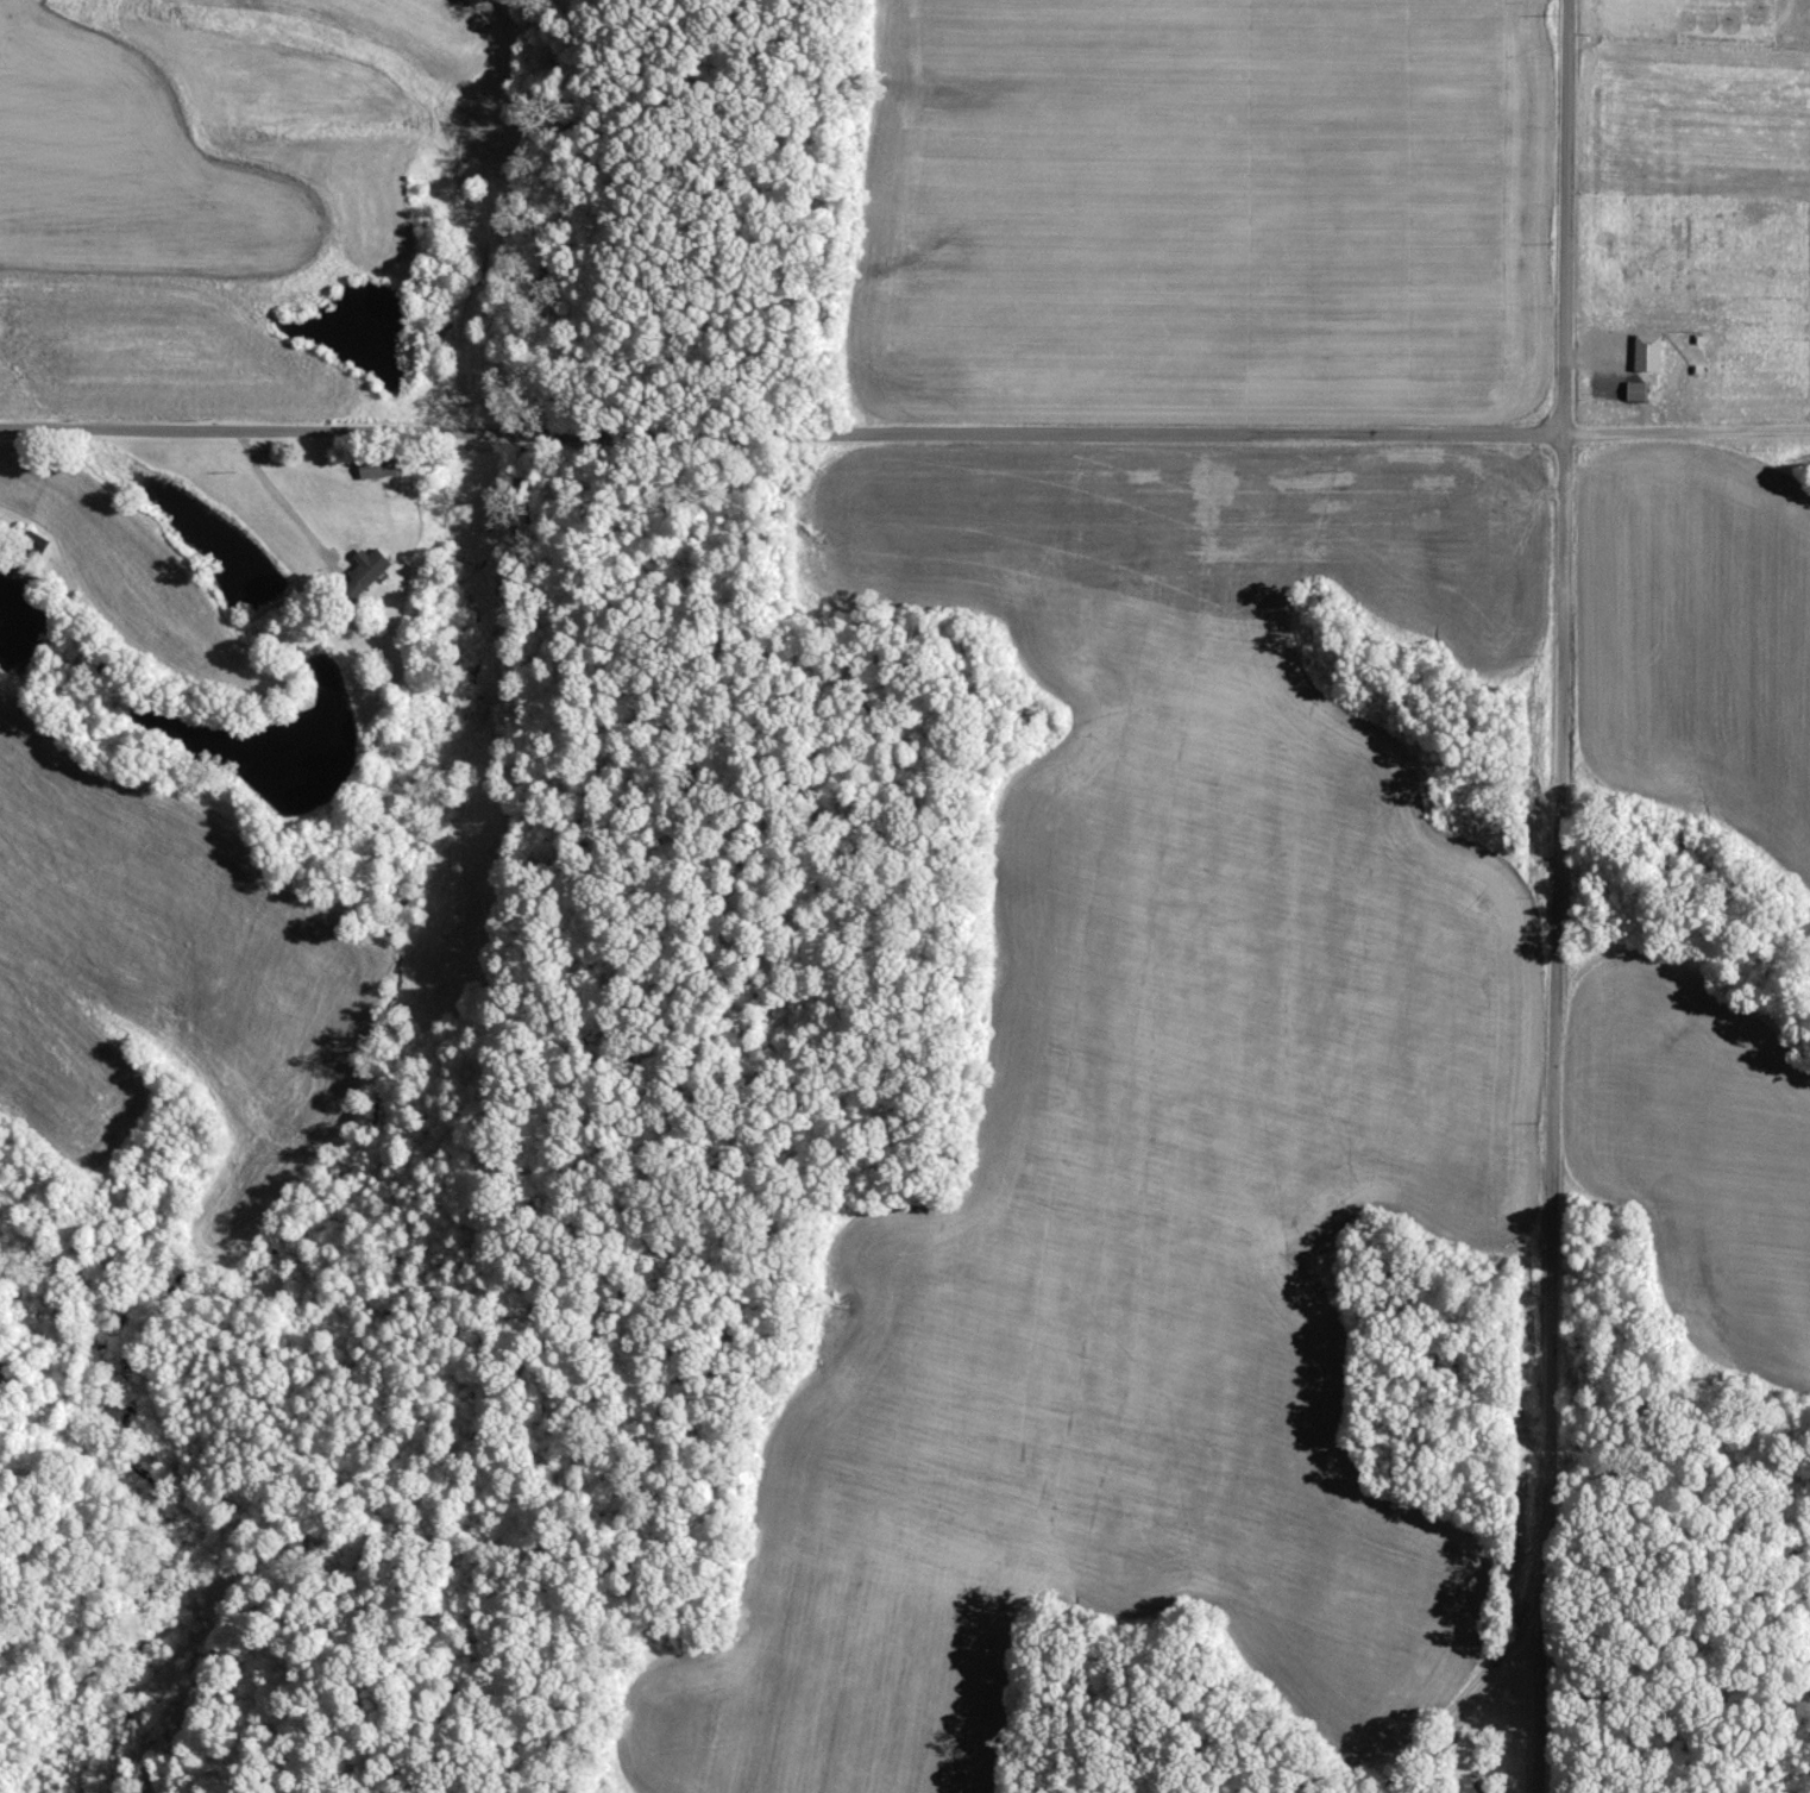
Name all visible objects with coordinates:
building: (1651, 353)
building: (1640, 391)
road: (1685, 433)
road: (780, 435)
building: (381, 468)
road: (283, 501)
road: (1557, 896)
road: (1457, 1704)

